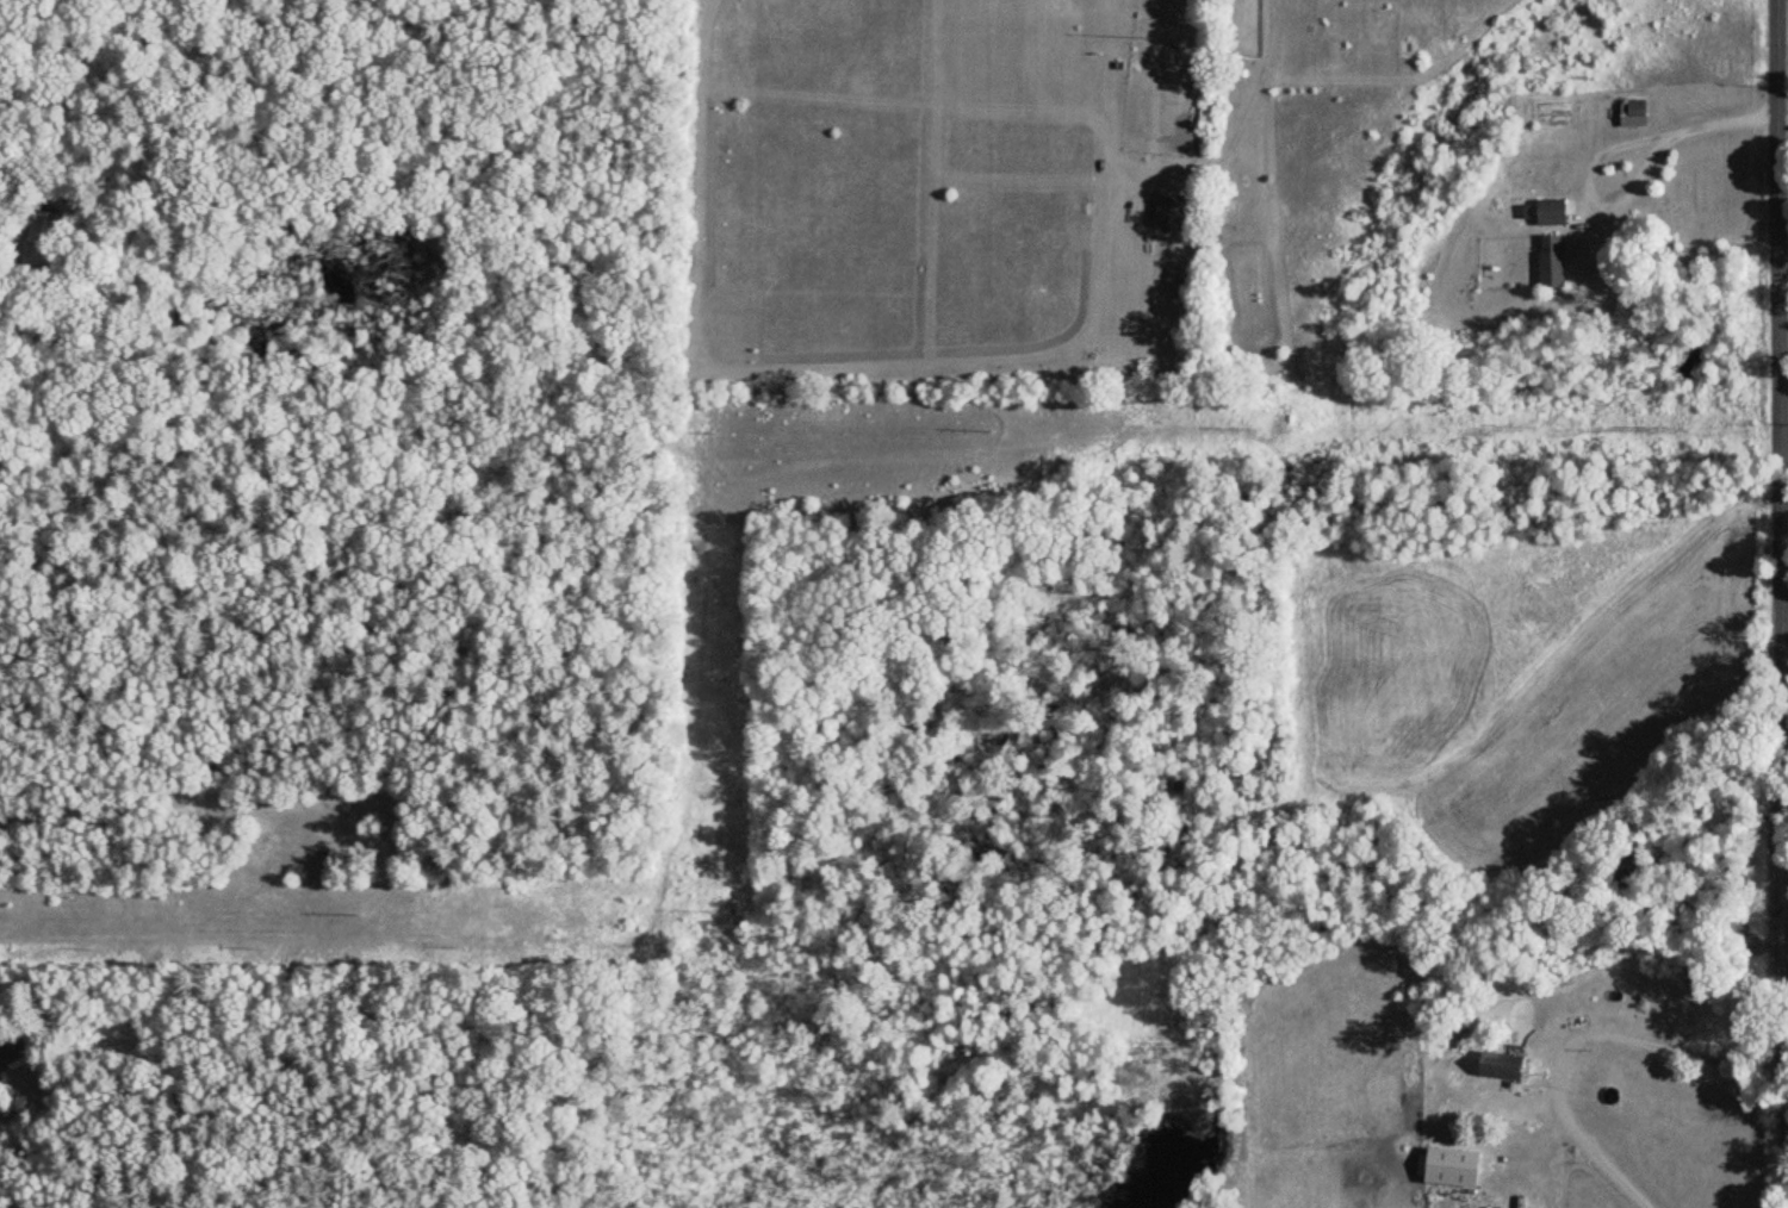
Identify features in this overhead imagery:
road: (6, 5)
road: (1781, 23)
road: (1353, 75)
road: (1782, 112)
building: (1629, 114)
road: (1604, 151)
building: (1548, 213)
building: (45, 228)
building: (1548, 263)
road: (1778, 597)
road: (246, 692)
building: (1618, 996)
road: (1575, 1040)
building: (1497, 1065)
road: (4, 1120)

